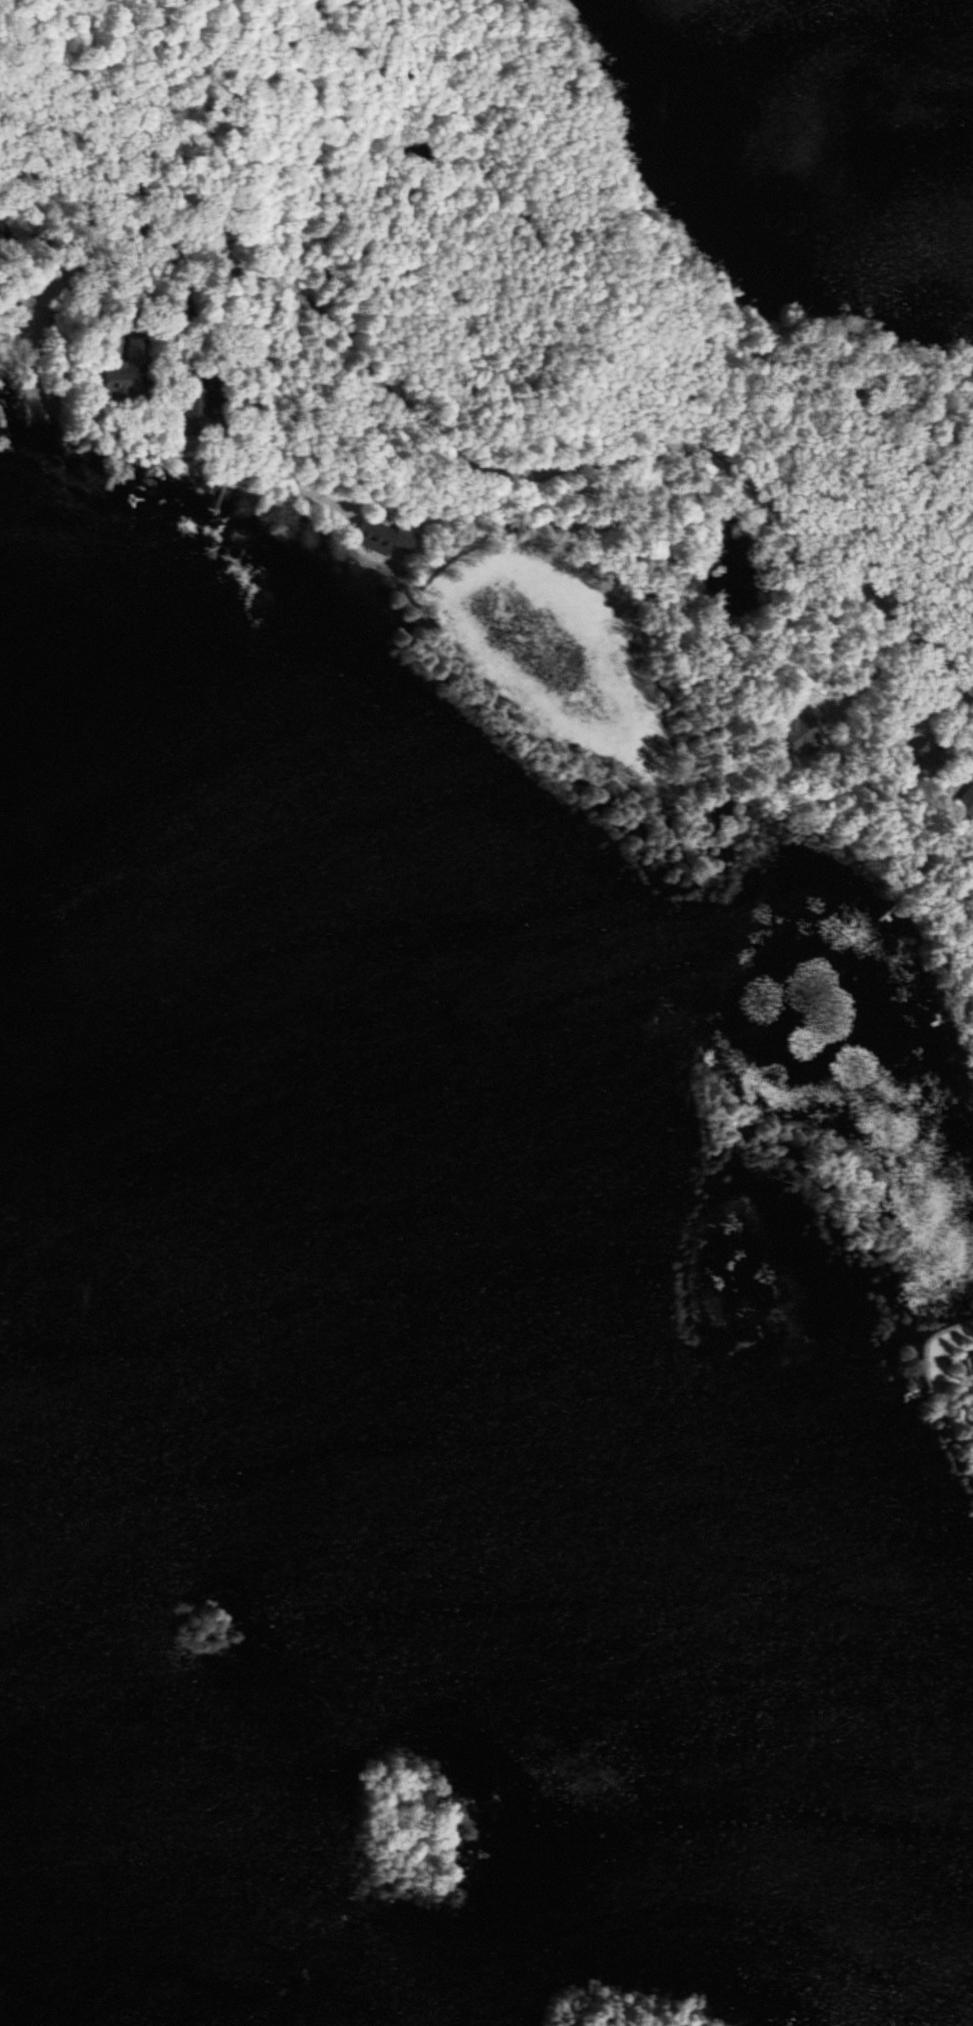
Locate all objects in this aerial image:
road: (43, 309)
parking lot: (50, 351)
building: (105, 380)
road: (483, 460)
building: (384, 538)

